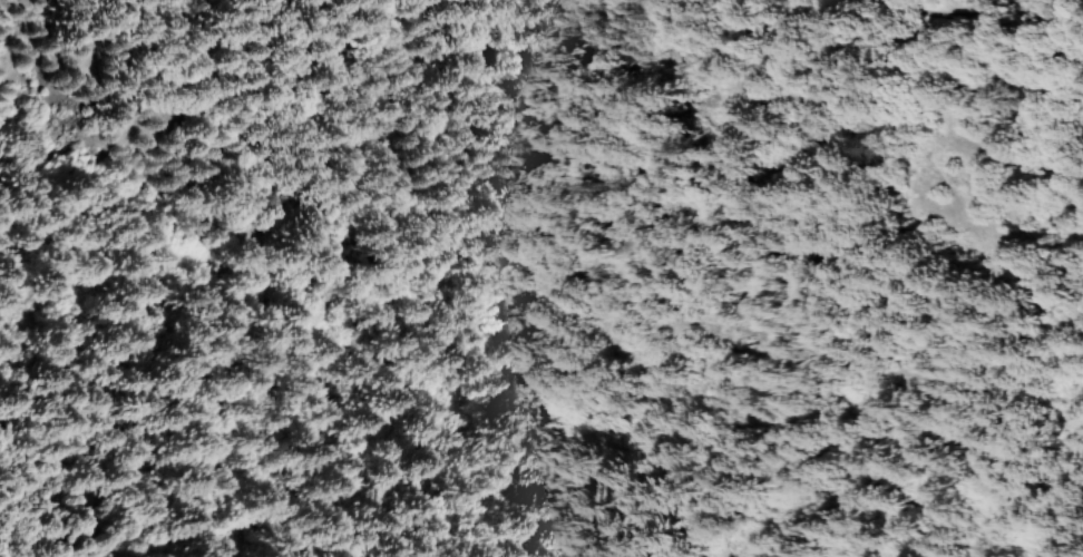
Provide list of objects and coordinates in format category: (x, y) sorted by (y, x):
road: (896, 35)
road: (1066, 450)

